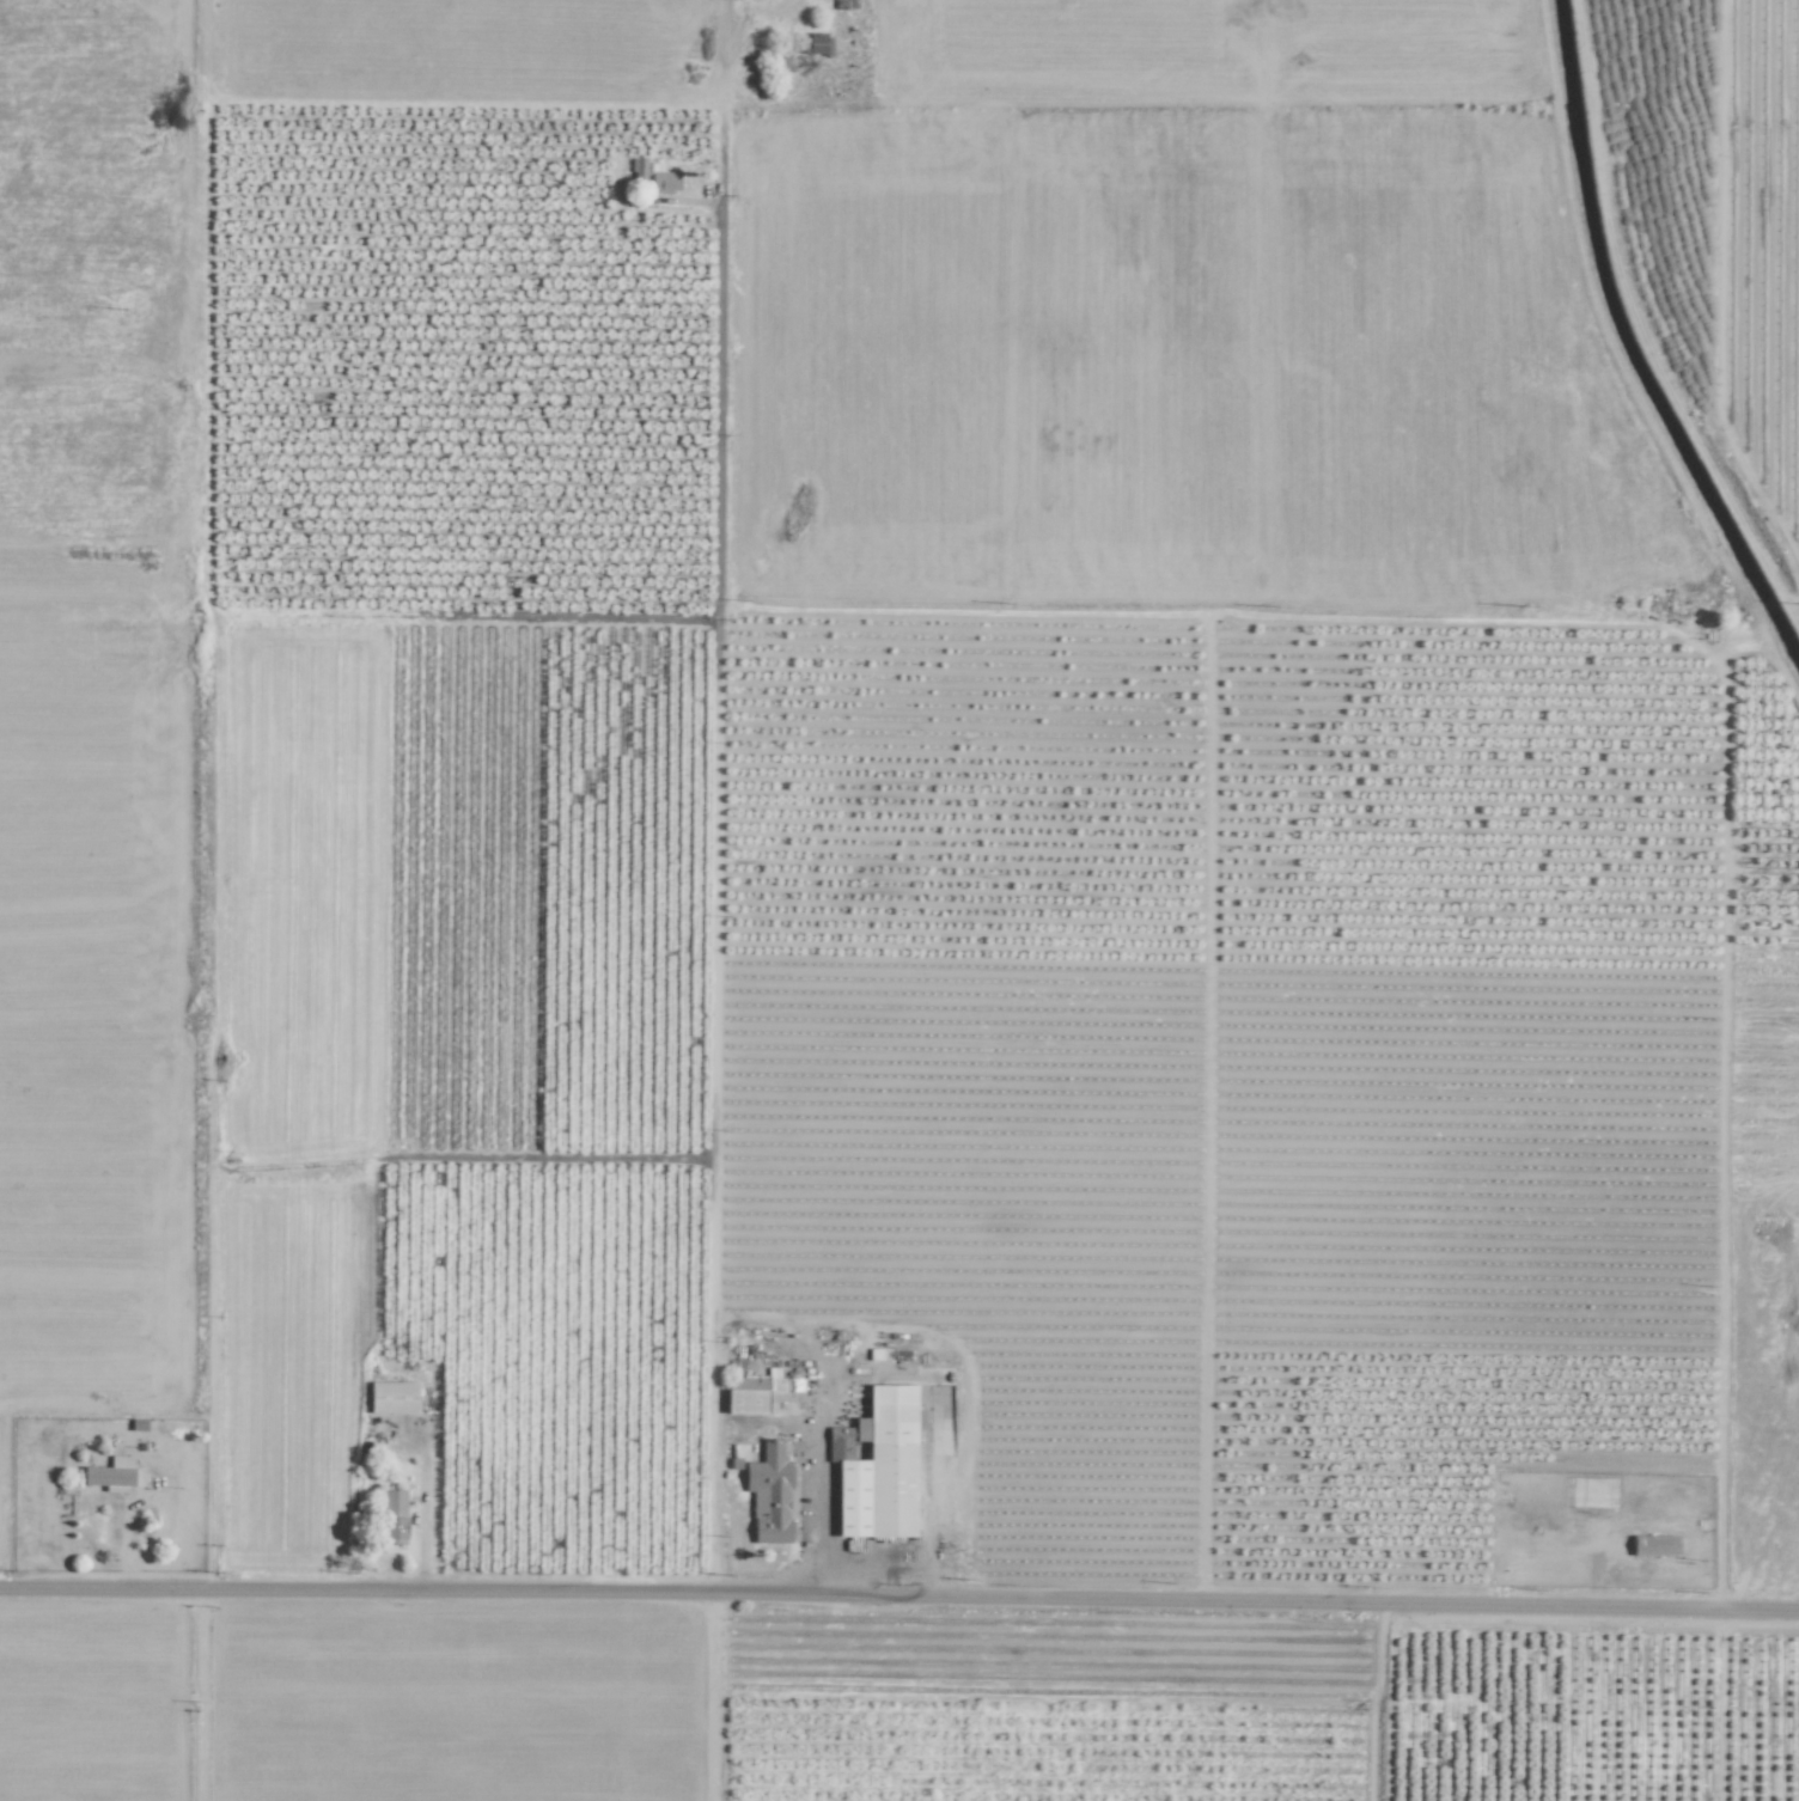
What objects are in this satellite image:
building: (817, 44)
building: (664, 182)
road: (718, 865)
building: (745, 1394)
building: (783, 1394)
building: (392, 1397)
building: (840, 1443)
building: (880, 1469)
building: (114, 1473)
building: (769, 1495)
building: (392, 1516)
road: (812, 1519)
building: (1653, 1545)
road: (900, 1612)
road: (703, 1705)
road: (720, 1705)

